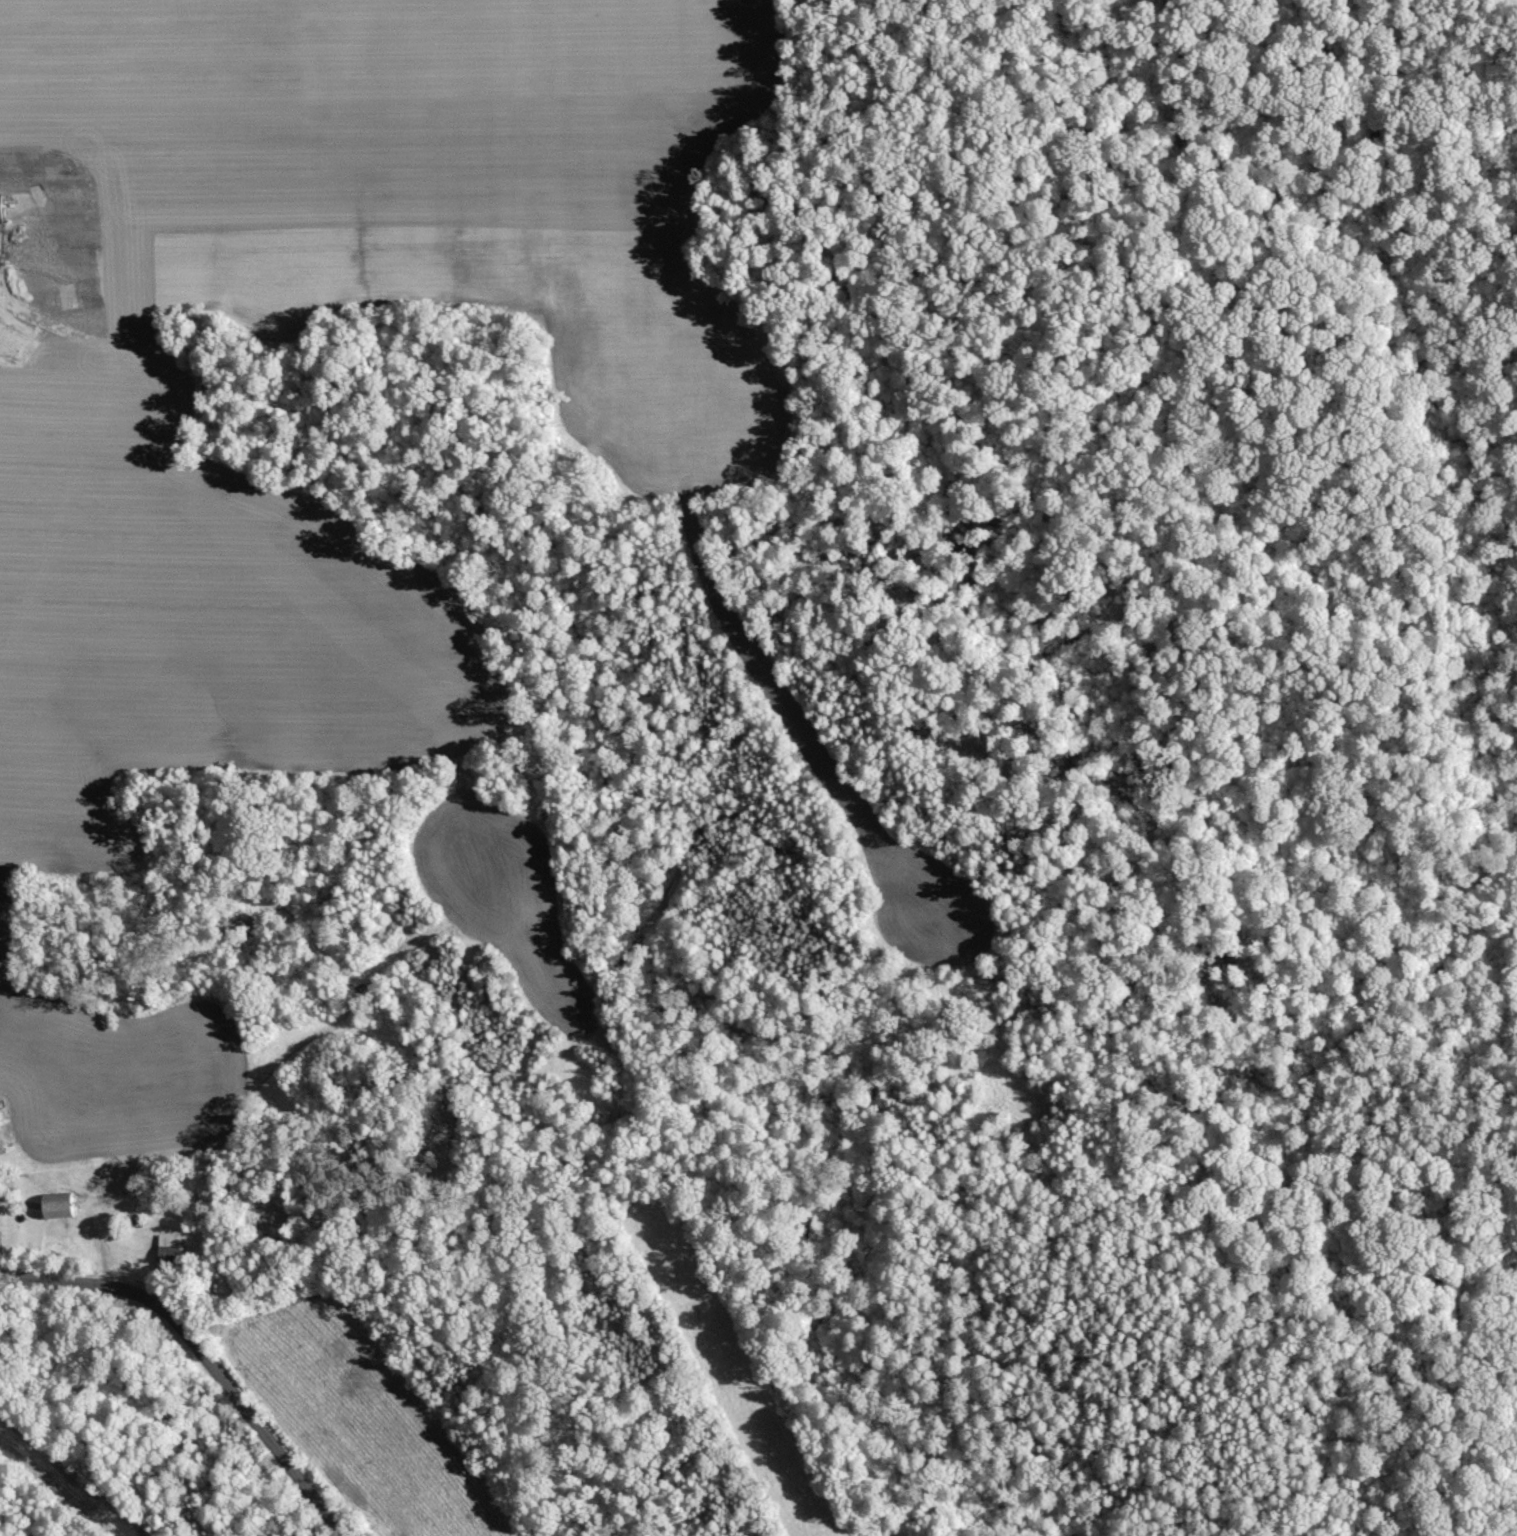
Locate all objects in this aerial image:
building: (2, 207)
building: (3, 1150)
building: (61, 1205)
building: (170, 1252)
road: (103, 1285)
road: (265, 1435)

